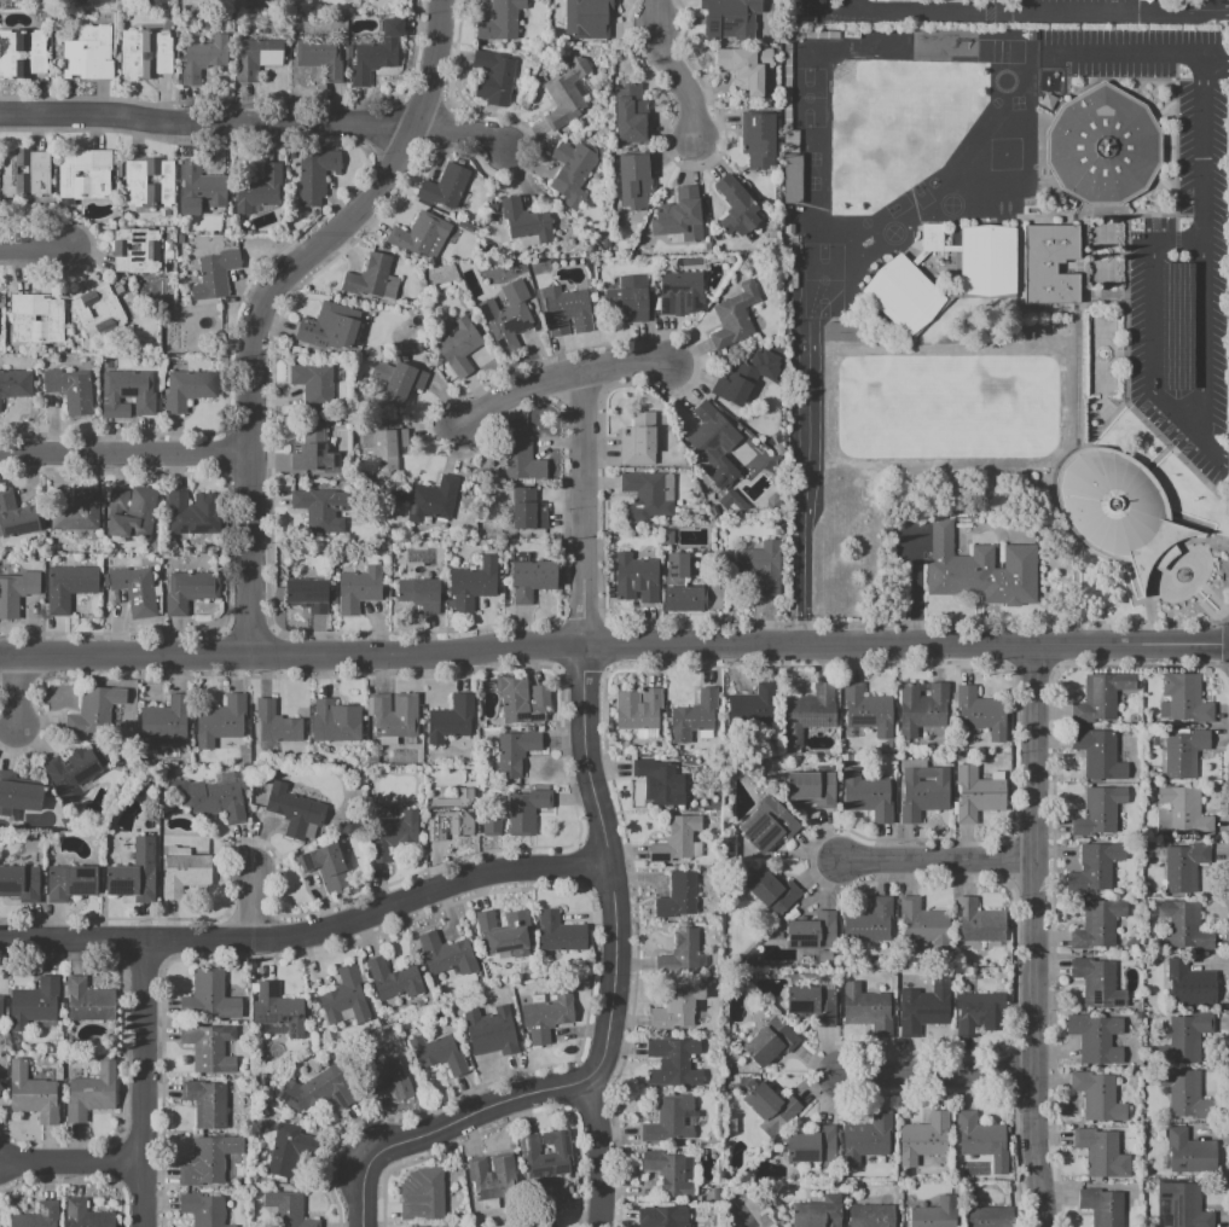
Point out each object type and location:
building: (71, 0)
building: (268, 1)
building: (1147, 1)
road: (850, 4)
building: (794, 7)
road: (825, 7)
road: (1206, 7)
road: (1039, 12)
parking lot: (827, 13)
building: (729, 18)
building: (586, 19)
building: (500, 21)
building: (801, 21)
road: (1130, 50)
park: (999, 51)
building: (22, 52)
building: (146, 52)
building: (87, 53)
building: (376, 53)
building: (256, 57)
building: (320, 58)
building: (564, 58)
building: (201, 59)
road: (1216, 62)
building: (744, 68)
road: (674, 70)
building: (494, 77)
building: (566, 92)
park: (807, 98)
building: (631, 117)
road: (208, 126)
road: (463, 130)
building: (759, 141)
building: (1102, 146)
road: (816, 164)
building: (24, 173)
building: (314, 175)
building: (572, 175)
building: (87, 176)
building: (790, 178)
building: (633, 180)
building: (150, 184)
building: (203, 184)
building: (444, 186)
building: (257, 190)
park: (920, 194)
park: (897, 205)
building: (493, 208)
building: (736, 208)
road: (921, 209)
building: (679, 217)
building: (526, 220)
building: (464, 226)
building: (788, 228)
building: (422, 235)
road: (1175, 237)
building: (932, 238)
building: (180, 239)
road: (33, 248)
building: (151, 250)
building: (132, 251)
building: (1049, 262)
building: (989, 263)
road: (1201, 271)
building: (214, 275)
building: (371, 279)
building: (793, 279)
park: (821, 280)
building: (118, 289)
building: (677, 290)
building: (904, 297)
building: (627, 298)
road: (269, 300)
building: (563, 309)
building: (97, 310)
building: (506, 313)
building: (734, 316)
building: (23, 318)
building: (40, 318)
building: (1175, 325)
building: (329, 326)
building: (841, 332)
building: (458, 347)
building: (753, 354)
road: (1150, 355)
building: (763, 360)
road: (557, 378)
building: (396, 382)
building: (312, 383)
building: (15, 384)
building: (736, 384)
building: (187, 389)
building: (68, 390)
building: (127, 394)
park: (921, 406)
park: (877, 407)
building: (738, 428)
building: (638, 440)
building: (713, 444)
building: (778, 448)
building: (312, 449)
building: (384, 449)
road: (126, 454)
building: (520, 460)
road: (807, 464)
building: (627, 469)
building: (399, 496)
building: (645, 496)
building: (117, 500)
building: (431, 500)
building: (732, 501)
road: (582, 508)
building: (1117, 508)
building: (320, 510)
building: (77, 511)
building: (527, 511)
building: (187, 513)
building: (15, 517)
building: (134, 517)
building: (667, 536)
building: (677, 565)
building: (760, 566)
building: (4, 570)
building: (979, 570)
building: (529, 577)
building: (634, 578)
building: (473, 585)
building: (68, 587)
building: (359, 589)
building: (134, 591)
building: (189, 591)
building: (16, 592)
building: (307, 594)
building: (418, 594)
building: (713, 597)
building: (685, 598)
road: (614, 649)
road: (15, 690)
building: (1100, 697)
building: (1185, 699)
building: (521, 700)
building: (752, 705)
building: (922, 708)
building: (638, 710)
building: (93, 711)
building: (868, 711)
building: (807, 713)
building: (981, 713)
building: (392, 715)
building: (694, 716)
building: (452, 717)
building: (220, 721)
building: (162, 722)
building: (277, 722)
building: (335, 722)
building: (1184, 751)
building: (515, 754)
building: (1098, 755)
building: (73, 772)
building: (659, 781)
building: (812, 787)
building: (922, 792)
building: (976, 795)
building: (868, 796)
building: (17, 797)
building: (209, 799)
building: (291, 809)
building: (526, 809)
building: (1098, 812)
building: (1181, 813)
building: (448, 814)
building: (491, 825)
building: (766, 825)
building: (390, 835)
building: (678, 841)
road: (938, 857)
building: (325, 865)
building: (1095, 868)
building: (1182, 868)
building: (133, 873)
building: (185, 873)
building: (69, 883)
building: (18, 884)
building: (771, 891)
building: (677, 896)
road: (251, 906)
building: (869, 921)
building: (980, 921)
building: (1098, 924)
building: (1182, 924)
building: (926, 925)
building: (503, 931)
building: (813, 931)
building: (561, 932)
road: (309, 934)
road: (1034, 936)
building: (446, 954)
building: (682, 954)
building: (389, 977)
building: (1189, 982)
building: (1097, 983)
building: (208, 999)
building: (343, 999)
building: (88, 1000)
building: (814, 1000)
building: (34, 1001)
building: (0, 1005)
building: (677, 1006)
building: (868, 1008)
building: (924, 1008)
building: (278, 1010)
building: (978, 1012)
road: (609, 1016)
building: (547, 1017)
building: (491, 1031)
building: (1096, 1037)
building: (1184, 1037)
building: (769, 1041)
building: (210, 1048)
building: (436, 1054)
building: (672, 1063)
road: (937, 1076)
building: (388, 1080)
road: (141, 1082)
building: (0, 1088)
building: (325, 1089)
building: (30, 1092)
building: (92, 1093)
building: (1183, 1093)
building: (1098, 1097)
building: (208, 1105)
building: (771, 1106)
building: (668, 1120)
building: (865, 1138)
building: (923, 1138)
building: (982, 1140)
building: (812, 1145)
building: (286, 1150)
building: (1188, 1151)
road: (598, 1152)
building: (1100, 1153)
building: (544, 1156)
building: (208, 1159)
road: (70, 1163)
building: (668, 1175)
building: (491, 1176)
building: (425, 1200)
building: (1184, 1204)
building: (1101, 1206)
building: (201, 1209)
building: (289, 1209)
building: (819, 1213)
building: (935, 1214)
building: (871, 1215)
building: (39, 1216)
building: (666, 1216)
building: (989, 1216)
building: (89, 1217)
building: (531, 1220)
building: (772, 1225)

